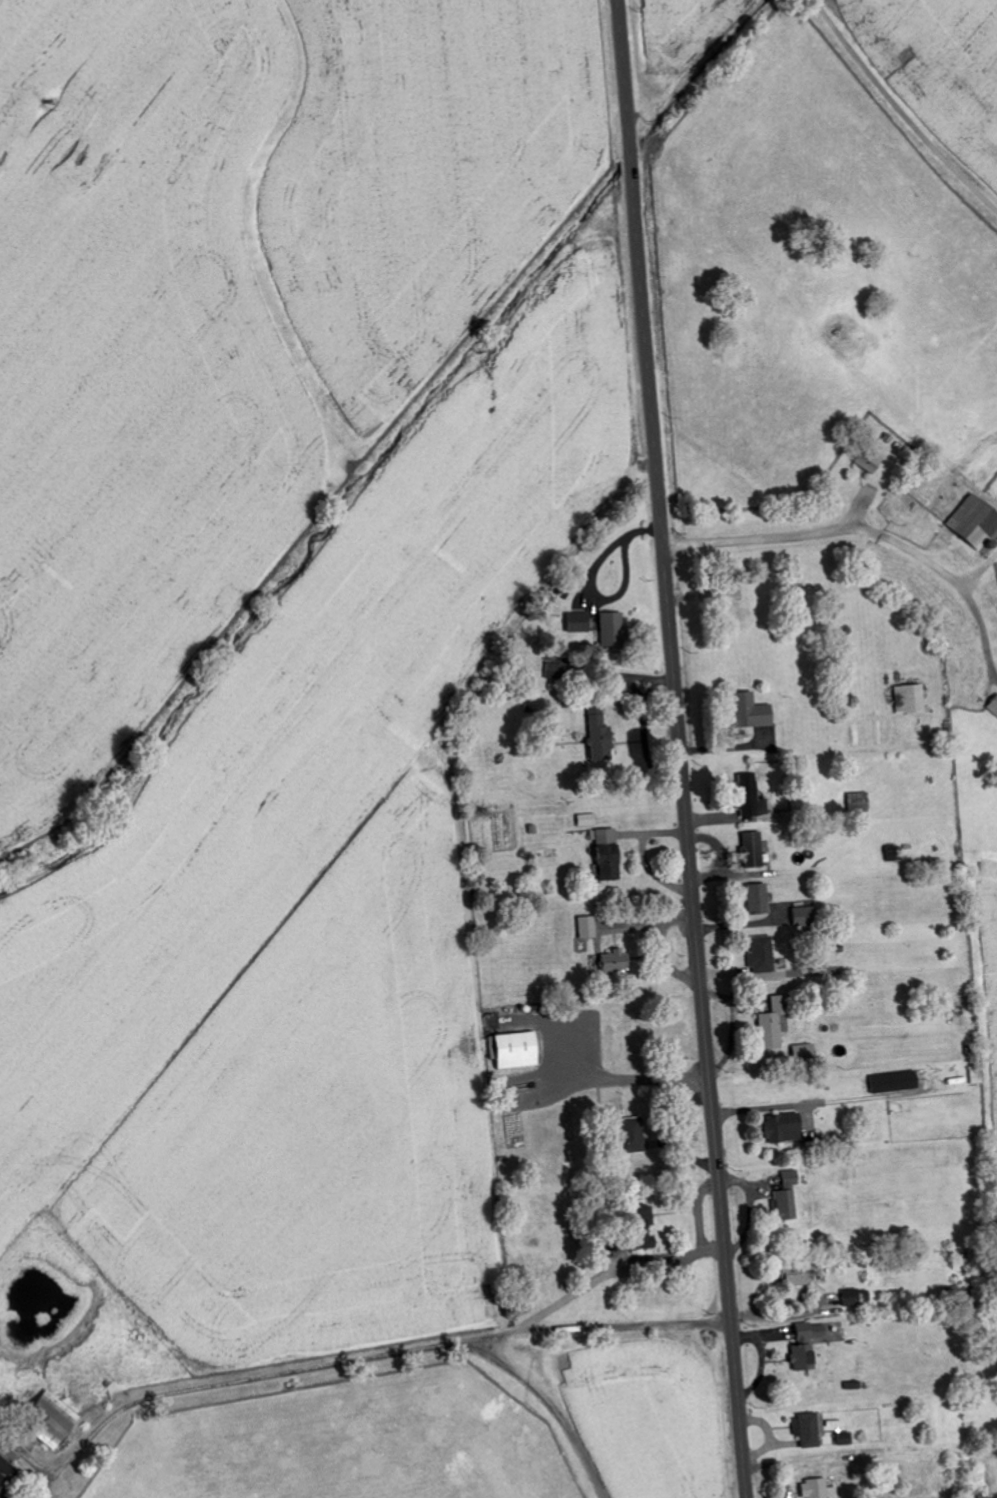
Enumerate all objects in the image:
building: (871, 462)
road: (864, 533)
building: (575, 623)
building: (608, 630)
building: (908, 698)
building: (992, 705)
building: (749, 711)
building: (597, 732)
road: (679, 749)
building: (857, 802)
building: (587, 820)
building: (752, 847)
building: (606, 853)
building: (757, 898)
building: (585, 927)
building: (760, 954)
building: (612, 961)
building: (769, 1027)
building: (512, 1050)
building: (893, 1082)
building: (779, 1128)
building: (628, 1135)
building: (785, 1196)
building: (640, 1226)
building: (794, 1276)
building: (855, 1297)
building: (810, 1331)
road: (415, 1340)
building: (800, 1357)
road: (548, 1392)
building: (47, 1419)
road: (53, 1429)
building: (807, 1429)
building: (842, 1439)
building: (6, 1475)
building: (816, 1489)

